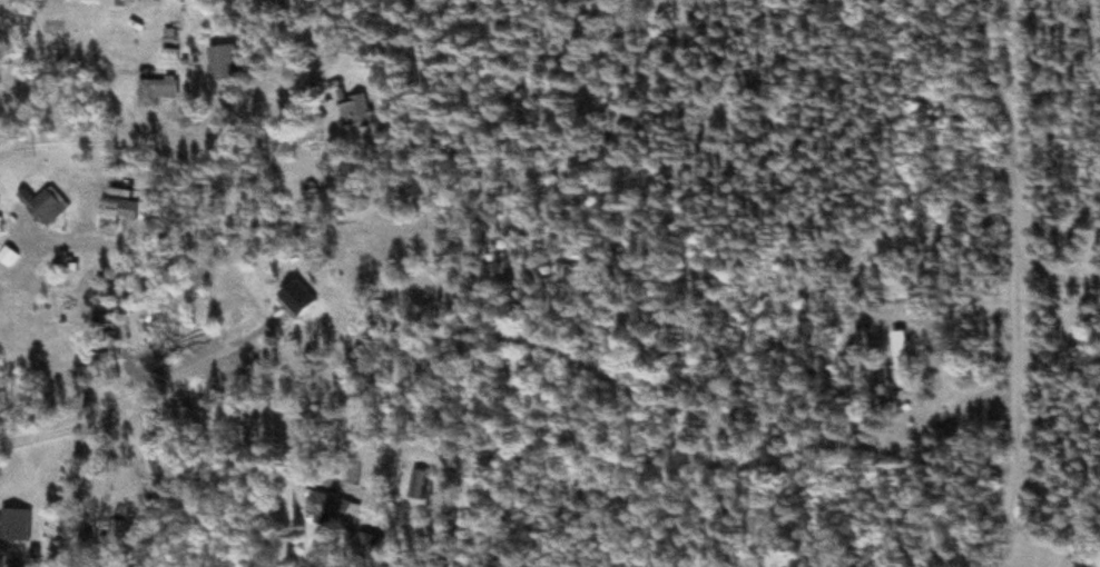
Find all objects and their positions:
road: (60, 40)
building: (224, 64)
building: (158, 93)
building: (355, 111)
road: (178, 160)
building: (119, 209)
building: (374, 260)
building: (61, 266)
road: (1029, 283)
building: (902, 359)
building: (71, 386)
road: (195, 387)
building: (333, 510)
building: (118, 534)
building: (369, 548)

